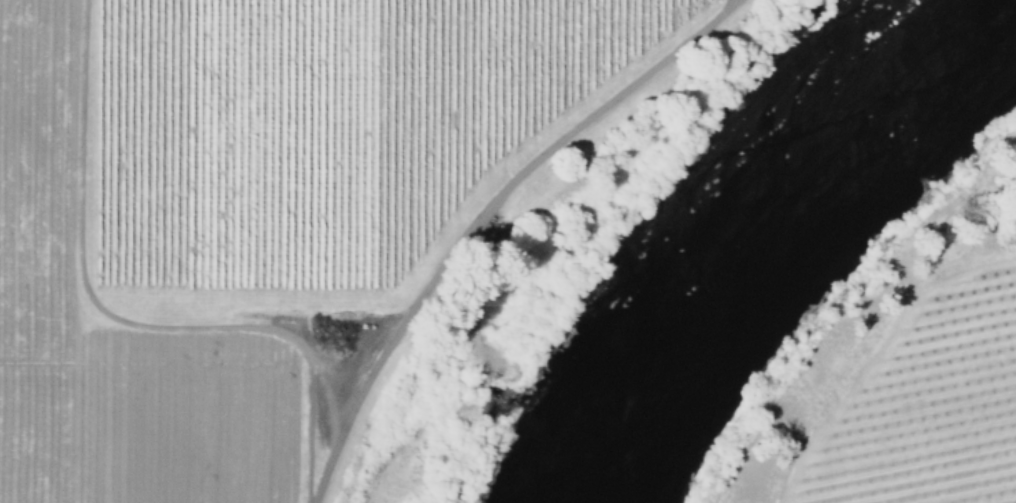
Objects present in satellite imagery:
road: (479, 214)
river: (748, 226)
road: (117, 323)

